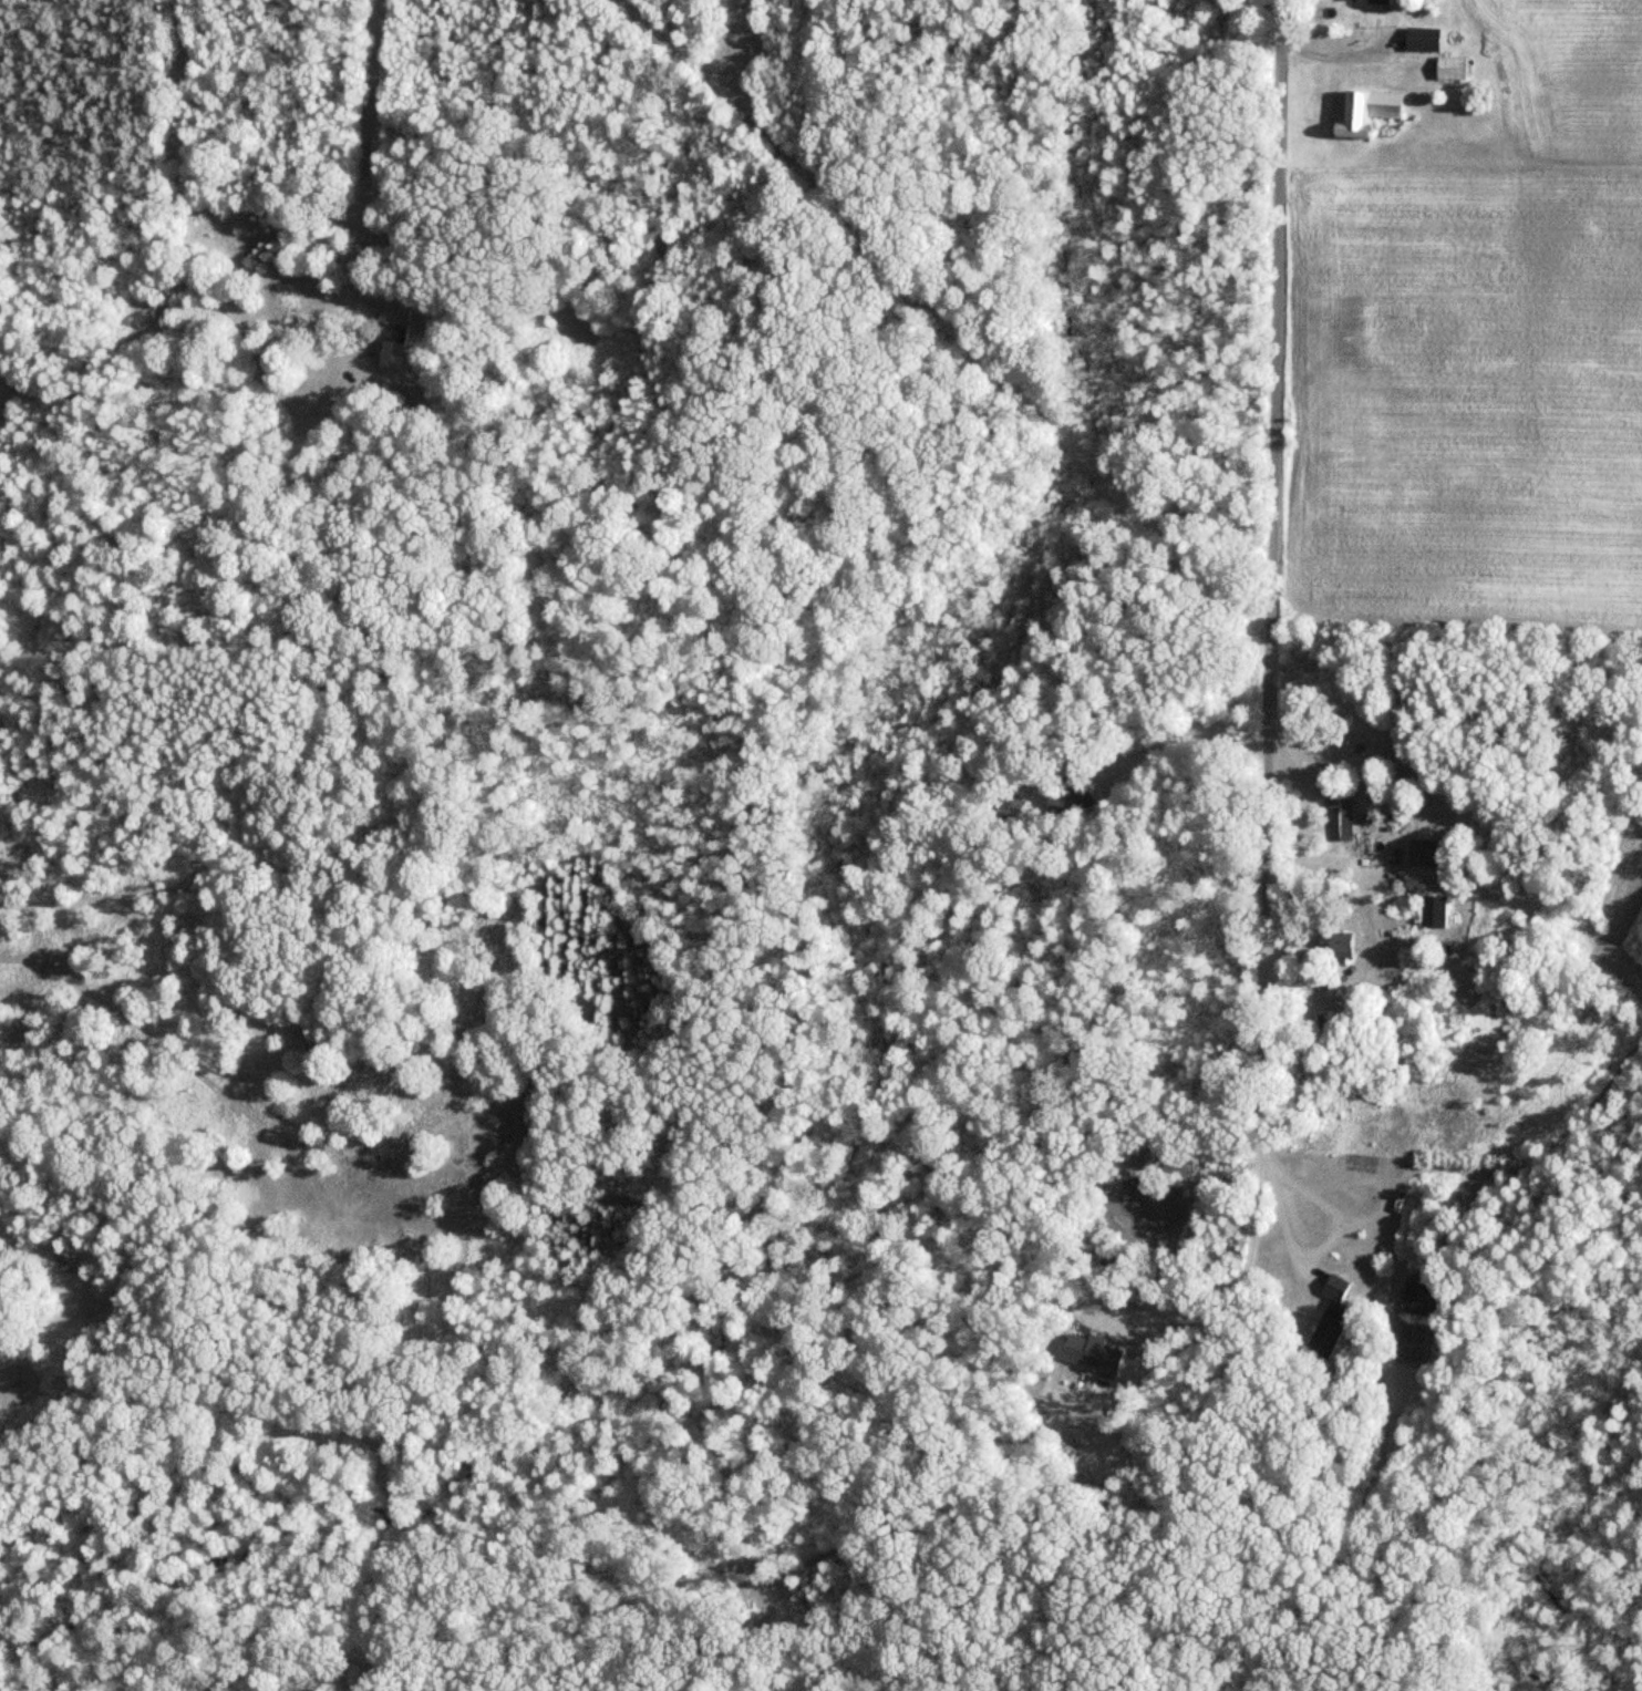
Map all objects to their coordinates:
building: (1365, 1)
building: (1419, 40)
road: (1344, 54)
building: (1447, 69)
building: (1363, 113)
building: (390, 309)
road: (1269, 498)
building: (1336, 817)
building: (1421, 852)
building: (1429, 911)
building: (1336, 949)
road: (1322, 1244)
building: (1331, 1287)
building: (1415, 1298)
road: (8, 1394)
road: (1083, 1417)

